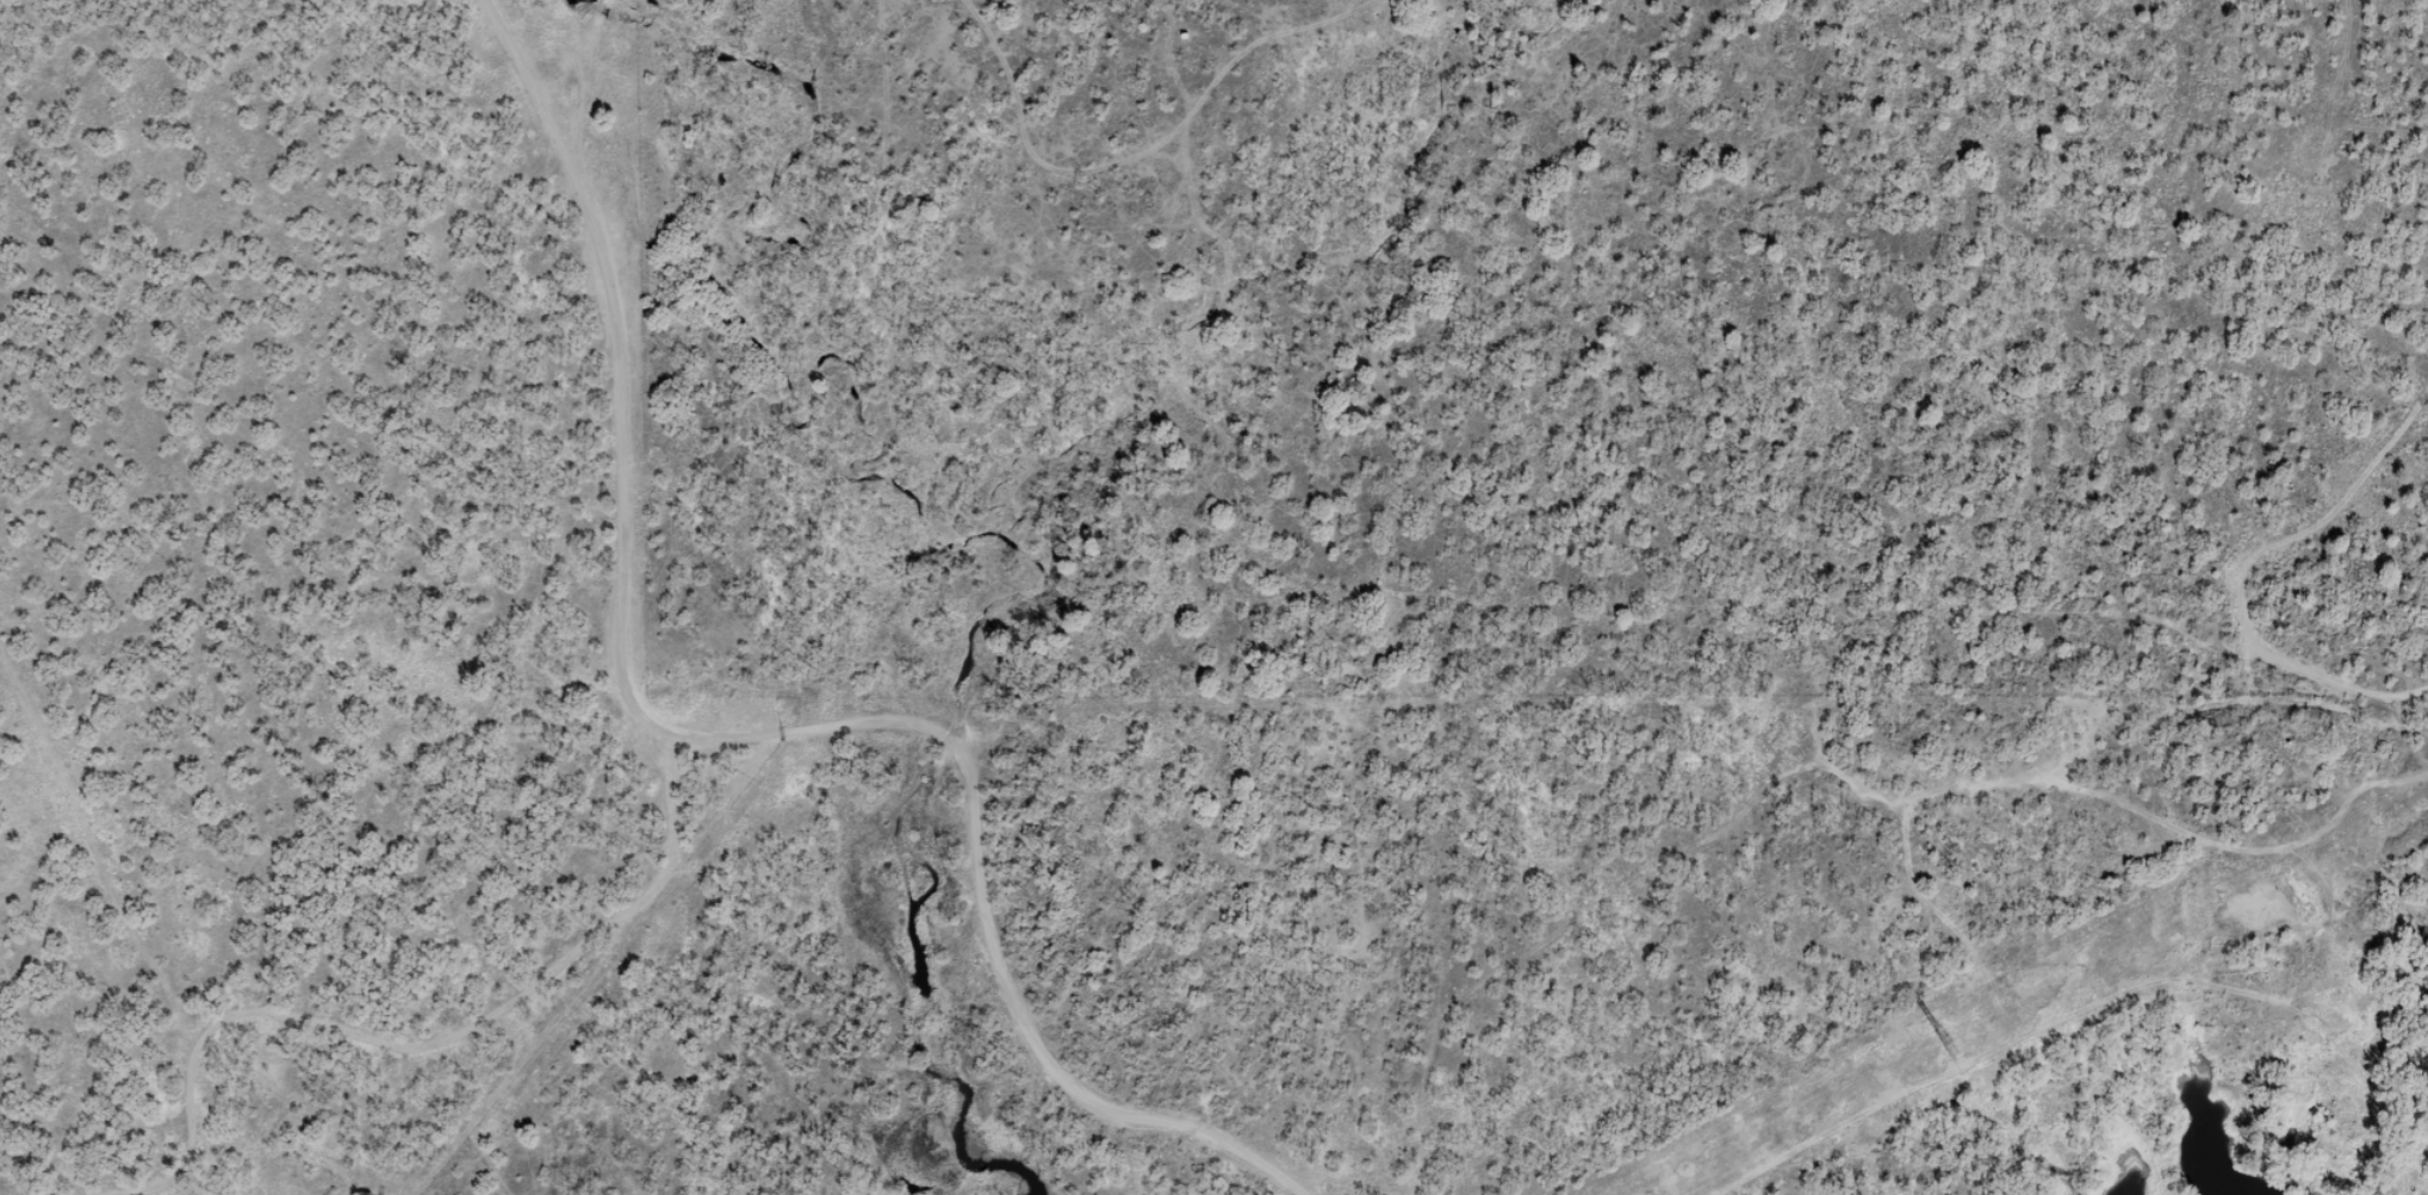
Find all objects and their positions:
road: (684, 880)
road: (1036, 910)
power tower: (1952, 1048)

